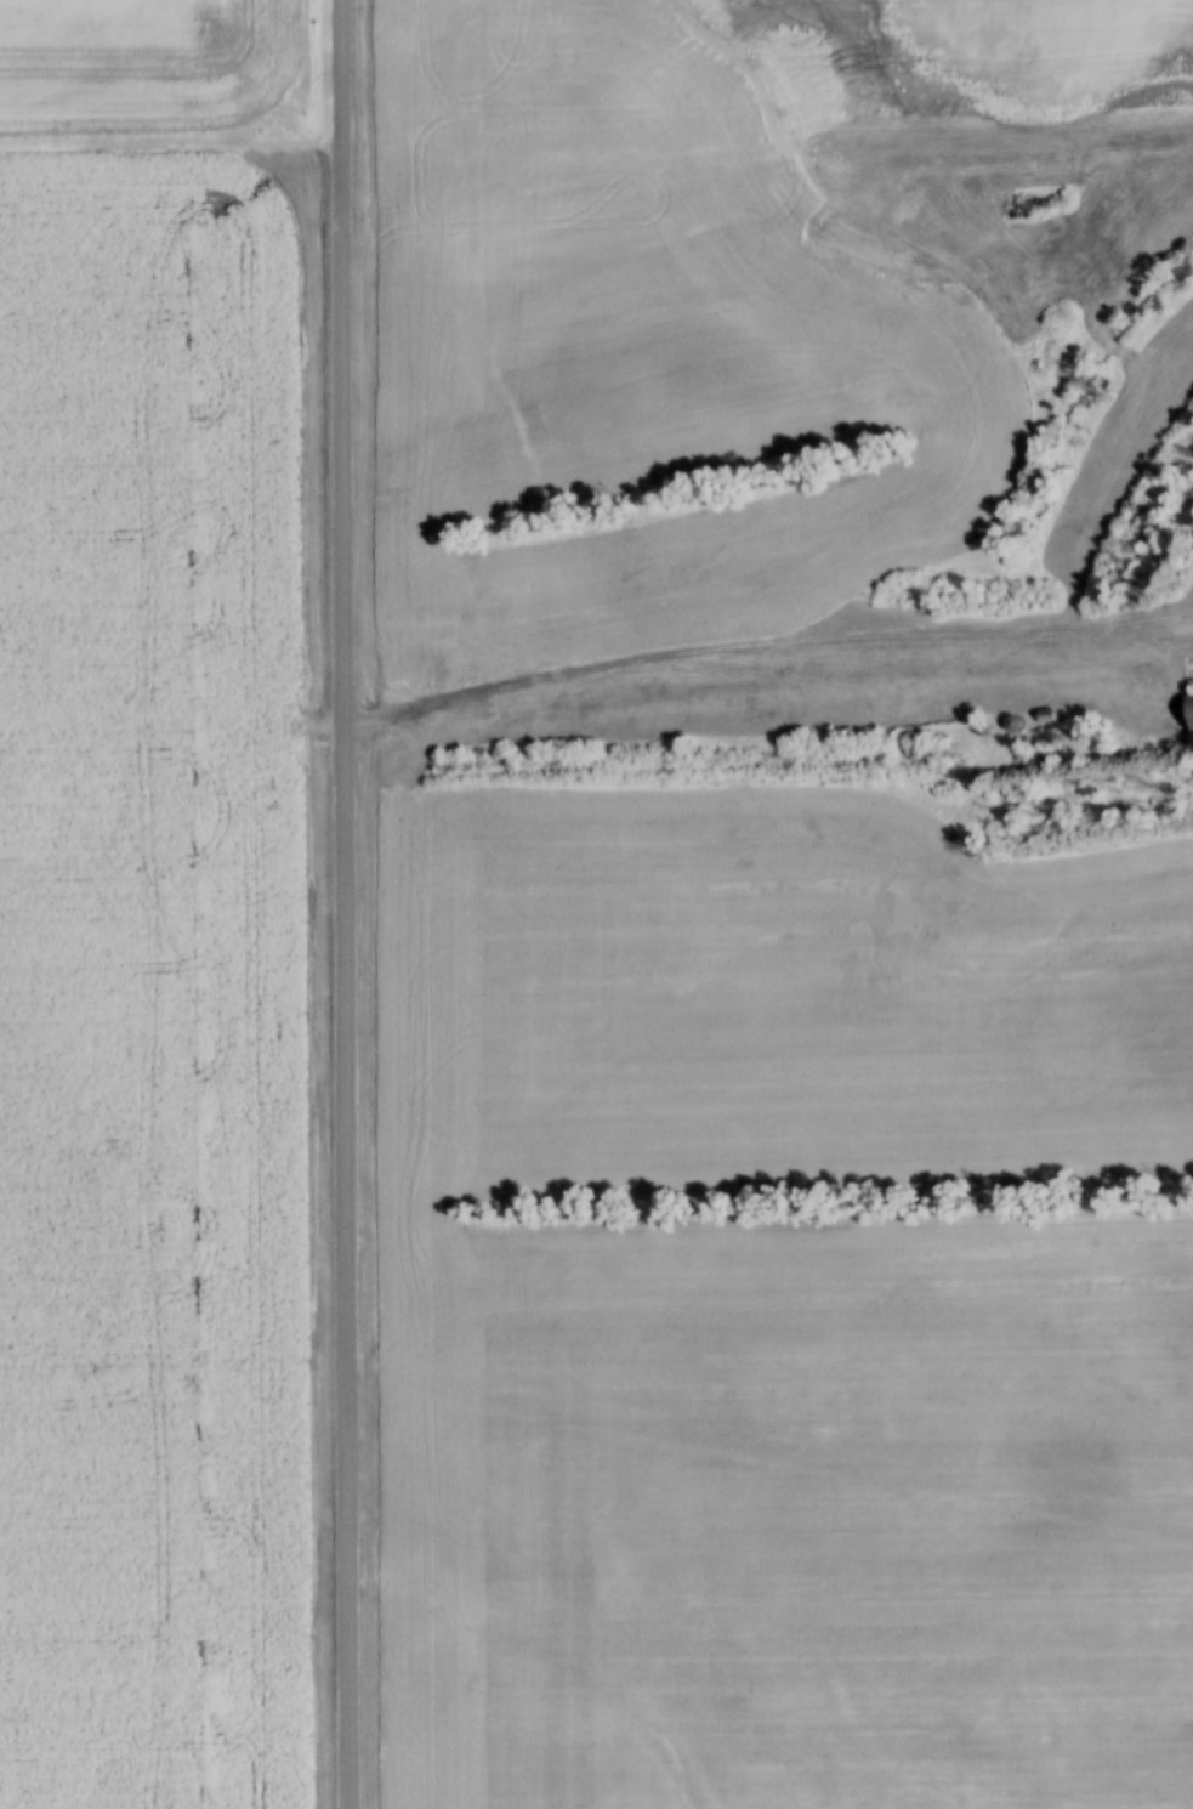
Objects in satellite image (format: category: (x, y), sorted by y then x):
road: (172, 151)
road: (760, 640)
building: (1191, 709)
road: (345, 903)
road: (772, 1470)

